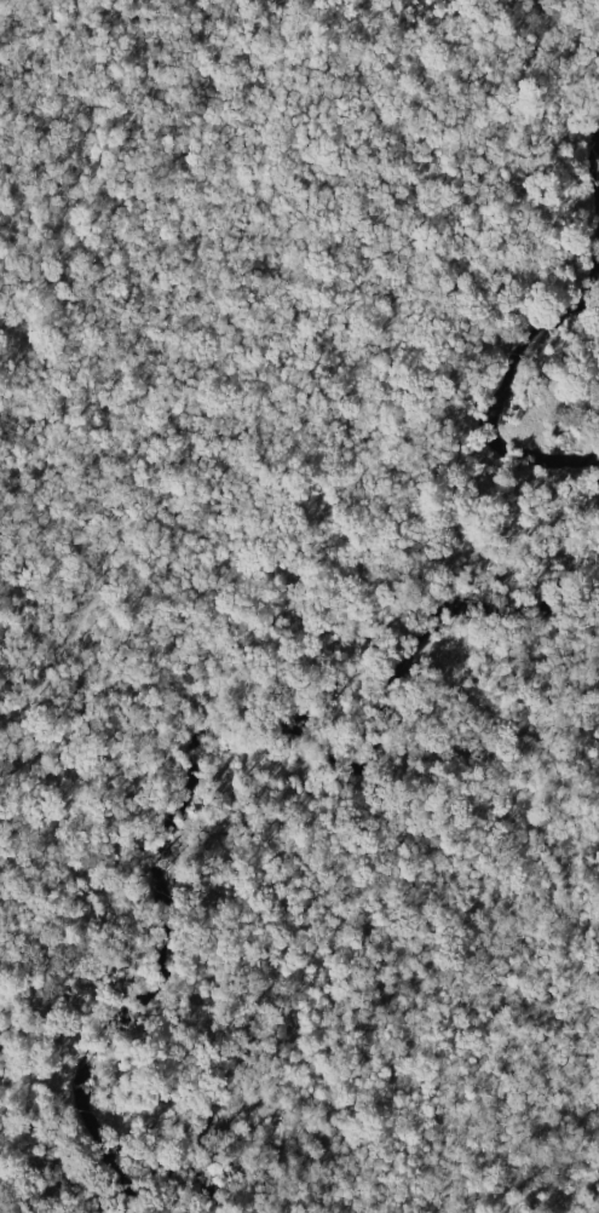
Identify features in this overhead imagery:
river: (537, 330)
park: (299, 606)
river: (179, 776)

